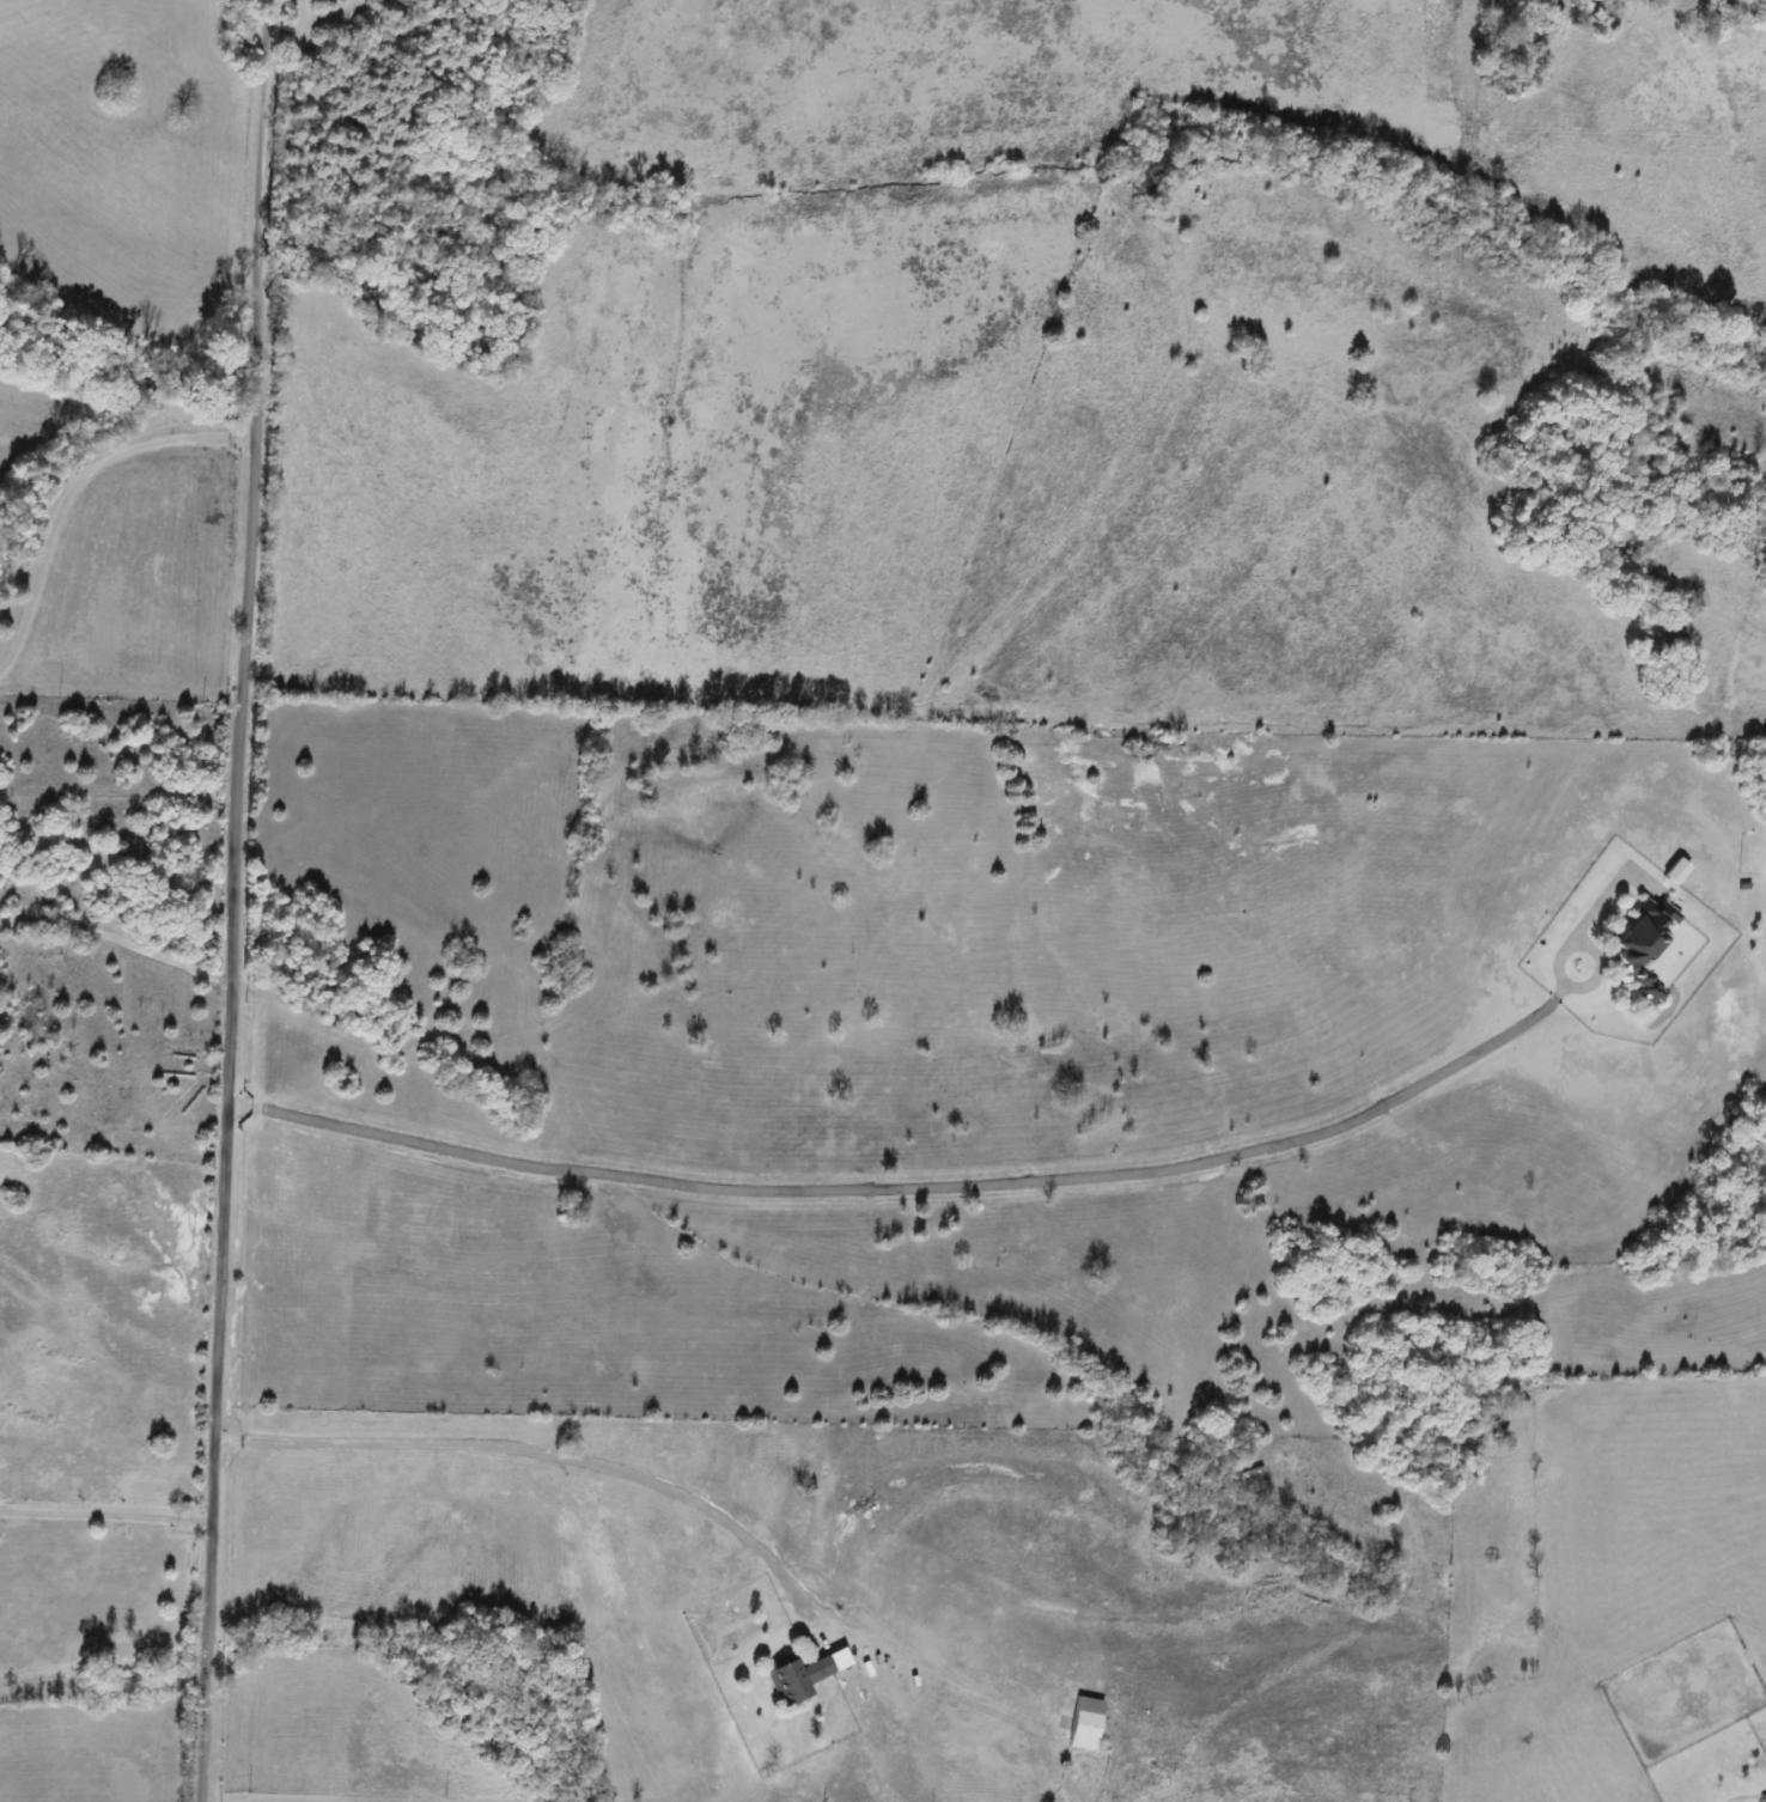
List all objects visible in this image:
road: (71, 485)
road: (235, 901)
road: (117, 940)
building: (1642, 946)
road: (987, 1185)
road: (528, 1451)
road: (104, 1520)
building: (796, 1676)
building: (1084, 1723)

